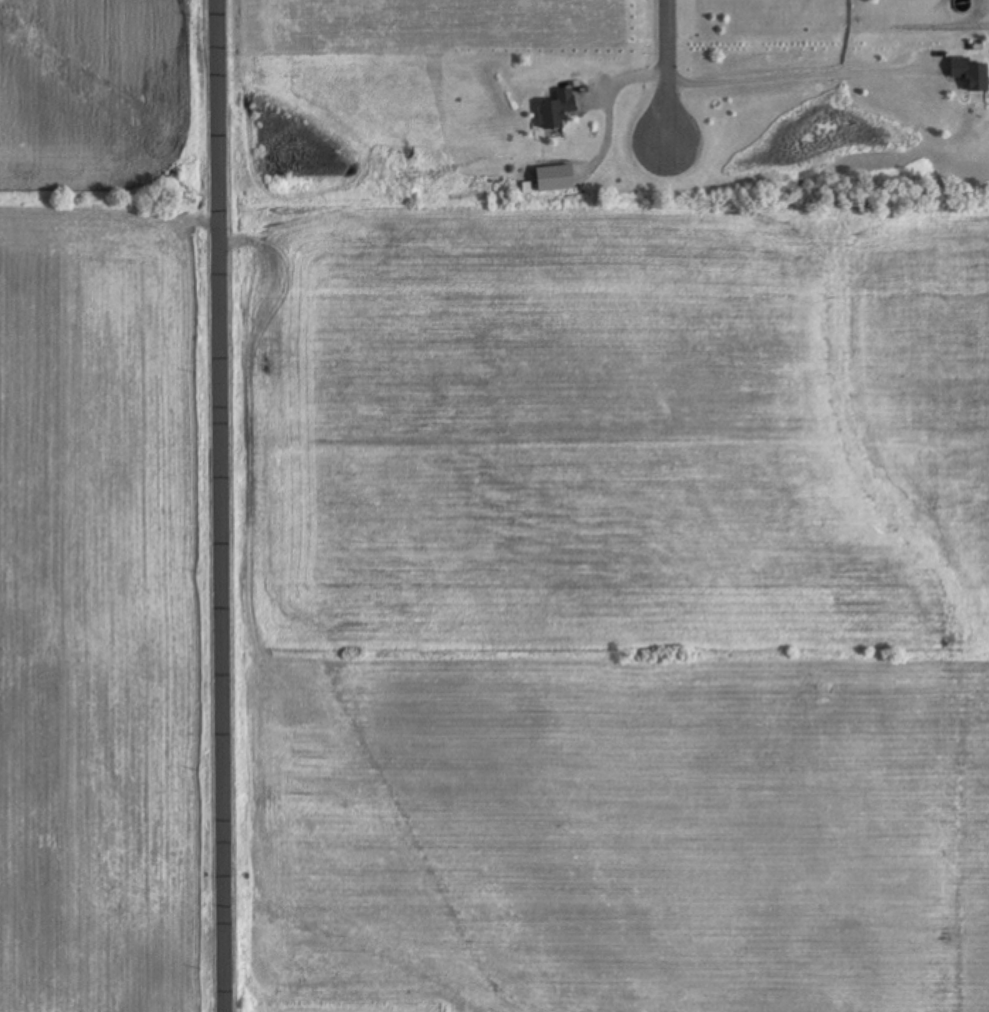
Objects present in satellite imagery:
road: (667, 70)
building: (971, 74)
building: (558, 110)
road: (215, 506)
crop: (105, 510)

